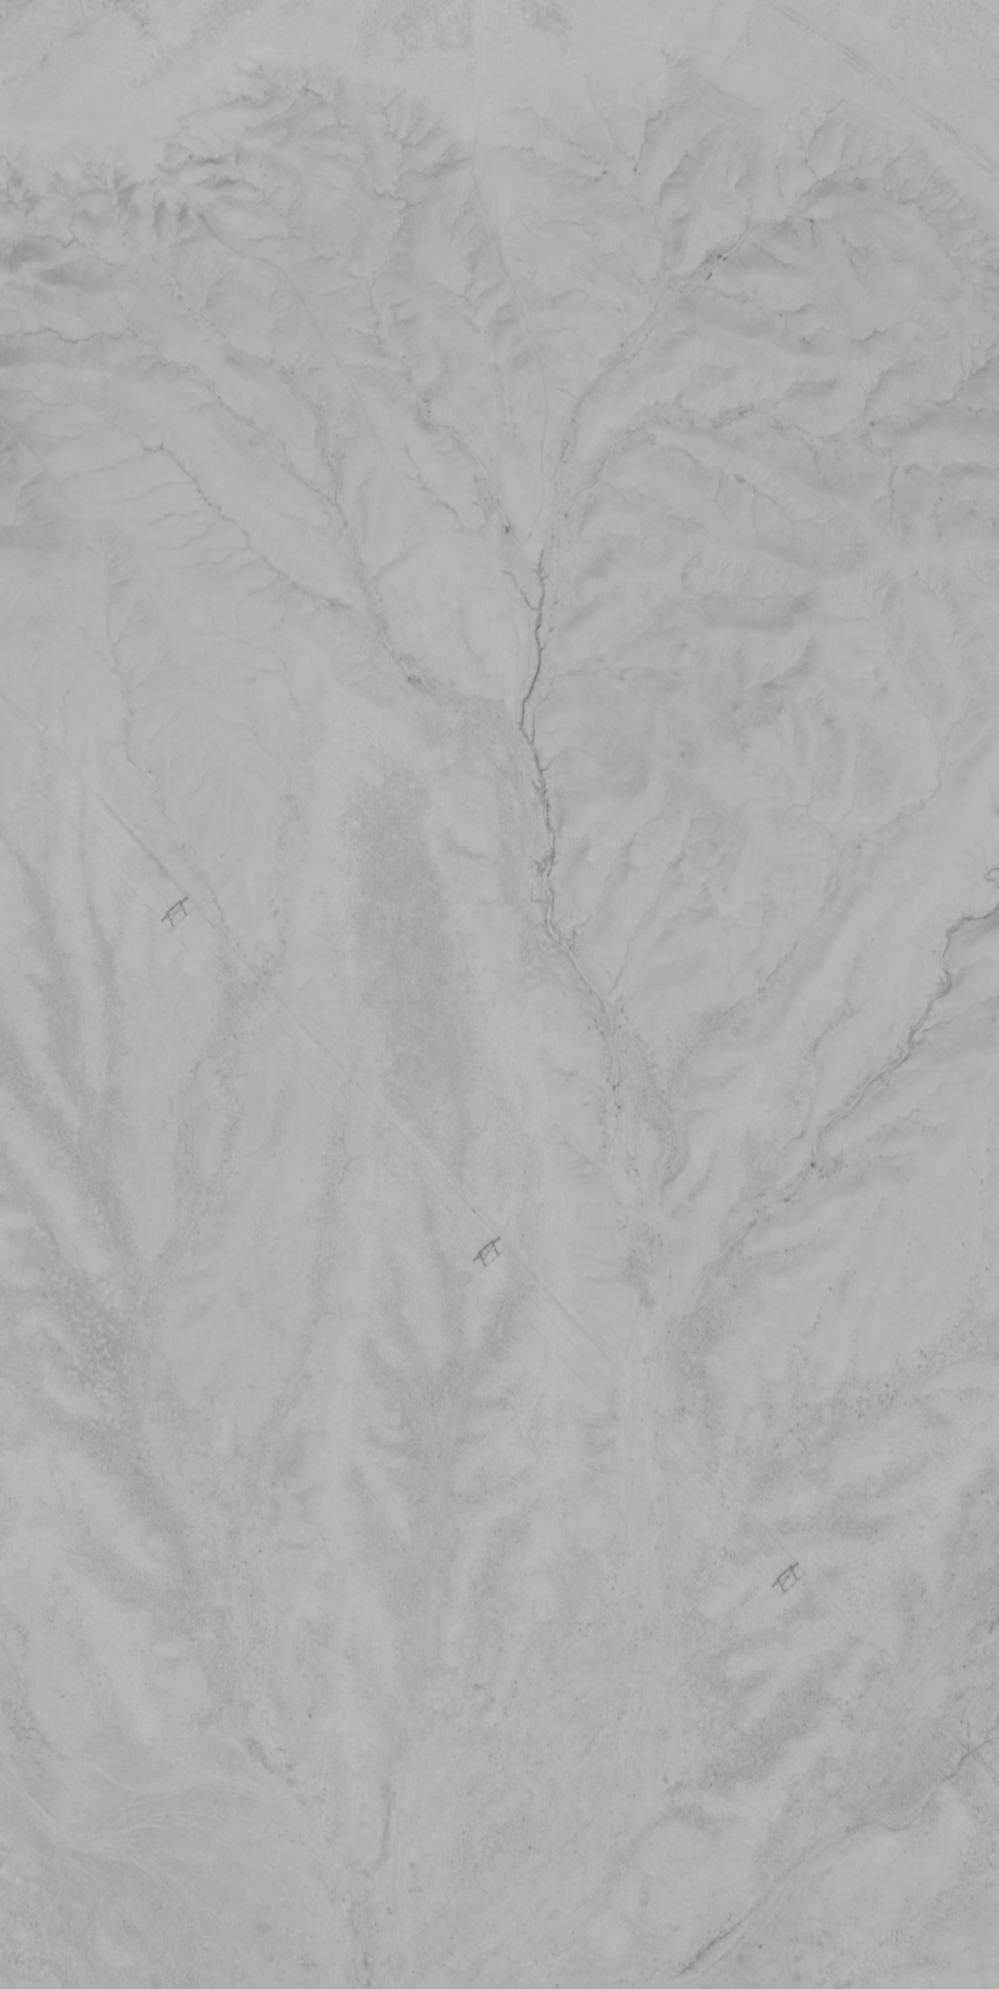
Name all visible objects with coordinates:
road: (889, 78)
power tower: (189, 919)
power tower: (502, 1254)
power tower: (806, 1584)

